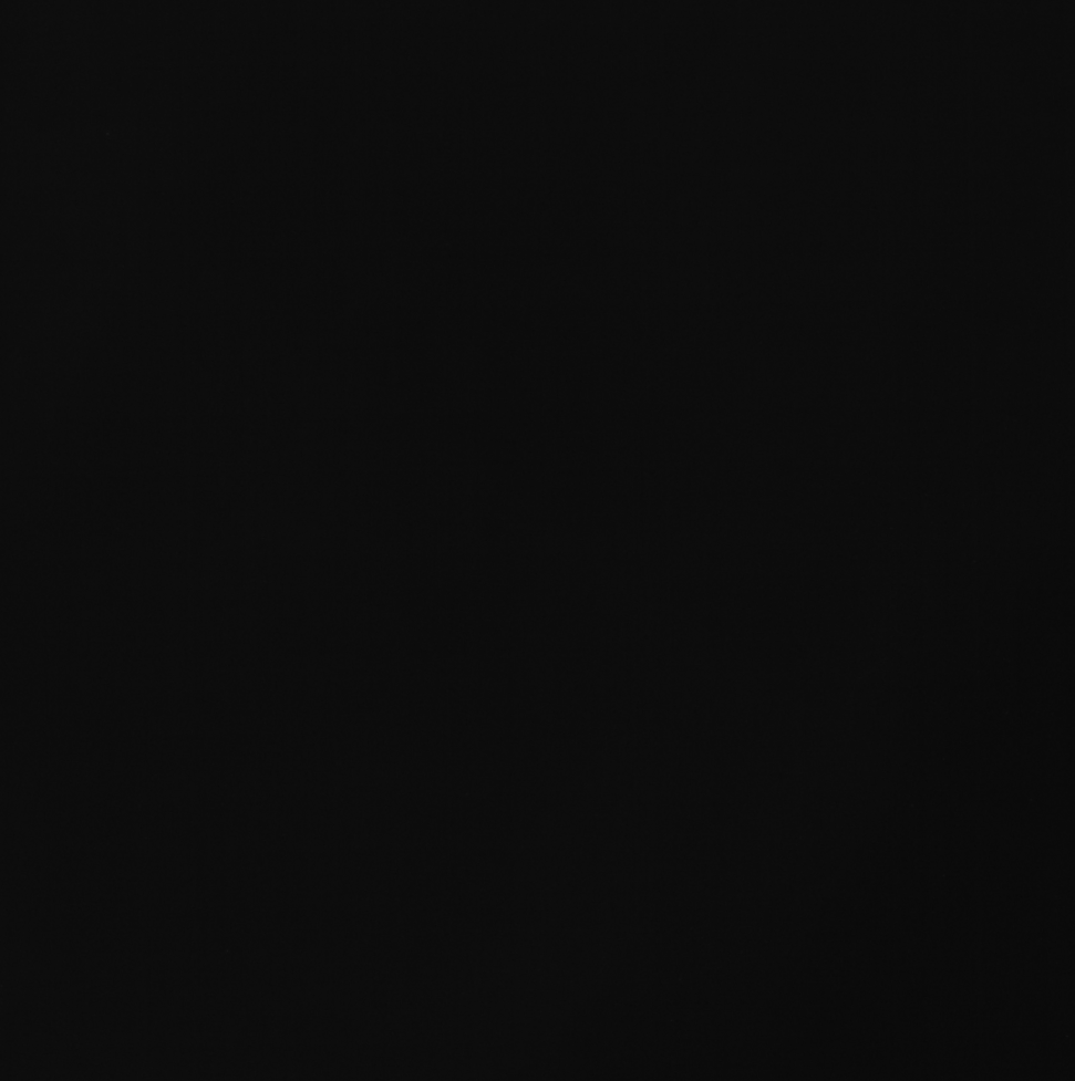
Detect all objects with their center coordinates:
river: (146, 934)

